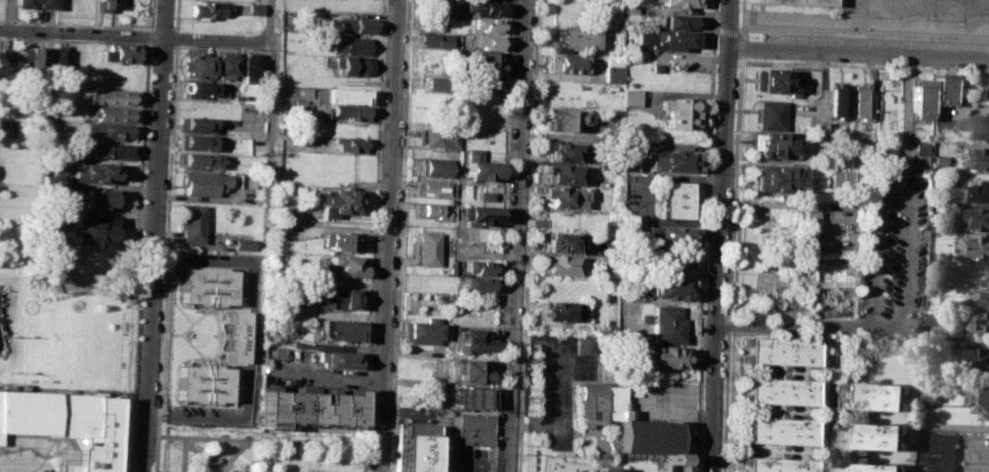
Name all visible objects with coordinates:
building: (803, 2)
building: (674, 3)
building: (44, 5)
building: (100, 5)
building: (441, 6)
building: (484, 7)
building: (627, 7)
building: (210, 8)
road: (9, 14)
road: (150, 15)
road: (175, 15)
road: (739, 17)
road: (271, 20)
building: (675, 20)
road: (75, 22)
building: (487, 24)
building: (356, 25)
road: (151, 26)
road: (162, 26)
road: (173, 28)
road: (713, 28)
road: (864, 33)
road: (737, 34)
road: (134, 35)
road: (148, 36)
road: (174, 36)
road: (74, 38)
building: (575, 38)
building: (436, 39)
building: (661, 39)
building: (485, 41)
building: (351, 45)
building: (119, 52)
road: (858, 52)
building: (5, 57)
building: (29, 59)
building: (58, 61)
building: (483, 62)
building: (568, 63)
building: (195, 64)
building: (227, 65)
building: (253, 65)
building: (353, 65)
building: (654, 66)
road: (863, 66)
building: (612, 69)
building: (769, 80)
building: (436, 83)
building: (482, 83)
building: (988, 87)
building: (200, 88)
building: (941, 88)
building: (219, 90)
building: (341, 95)
building: (112, 96)
building: (629, 96)
building: (918, 98)
building: (837, 101)
building: (860, 103)
road: (905, 108)
building: (347, 112)
building: (676, 112)
building: (766, 113)
building: (113, 114)
building: (569, 118)
building: (196, 124)
building: (983, 126)
building: (821, 127)
building: (109, 131)
building: (436, 136)
building: (194, 141)
building: (349, 143)
road: (269, 144)
building: (769, 145)
building: (110, 149)
building: (565, 150)
building: (918, 154)
building: (624, 156)
building: (984, 157)
building: (671, 159)
building: (199, 160)
building: (433, 166)
building: (480, 166)
building: (95, 171)
building: (563, 174)
building: (776, 177)
building: (242, 180)
building: (844, 180)
building: (203, 182)
building: (435, 188)
road: (890, 190)
building: (982, 191)
building: (805, 194)
building: (484, 195)
parking lot: (637, 196)
building: (568, 197)
road: (641, 197)
building: (97, 198)
building: (672, 198)
building: (338, 201)
building: (434, 209)
building: (477, 214)
building: (980, 218)
road: (375, 222)
building: (191, 223)
building: (807, 227)
building: (91, 228)
building: (668, 234)
road: (156, 236)
road: (389, 236)
road: (399, 236)
road: (503, 236)
road: (518, 236)
road: (529, 236)
road: (703, 236)
road: (721, 236)
road: (165, 239)
building: (340, 241)
building: (564, 242)
building: (241, 244)
building: (978, 246)
building: (427, 248)
parking lot: (892, 250)
road: (138, 257)
building: (664, 261)
building: (348, 264)
building: (558, 264)
road: (729, 264)
building: (54, 265)
building: (480, 266)
building: (205, 275)
building: (988, 278)
parking lot: (245, 282)
building: (476, 283)
building: (666, 286)
road: (253, 291)
building: (204, 294)
building: (984, 297)
building: (339, 298)
building: (563, 310)
building: (978, 319)
building: (932, 320)
building: (666, 324)
road: (808, 324)
building: (339, 328)
building: (422, 330)
building: (233, 336)
building: (472, 339)
building: (587, 343)
building: (778, 350)
building: (981, 354)
building: (656, 356)
building: (338, 359)
building: (475, 370)
parking lot: (307, 371)
building: (200, 372)
road: (330, 375)
road: (553, 381)
parking lot: (558, 384)
building: (777, 390)
building: (199, 391)
parking lot: (240, 391)
building: (930, 392)
building: (873, 395)
building: (470, 396)
building: (981, 396)
parking lot: (659, 400)
road: (680, 401)
building: (307, 406)
road: (195, 418)
building: (66, 423)
building: (626, 423)
building: (472, 427)
building: (775, 430)
building: (872, 435)
road: (258, 439)
road: (193, 447)
building: (411, 448)
road: (236, 449)
park: (257, 450)
building: (938, 450)
road: (183, 454)
road: (244, 455)
road: (277, 456)
road: (978, 458)
building: (773, 464)
building: (870, 466)
building: (607, 469)

